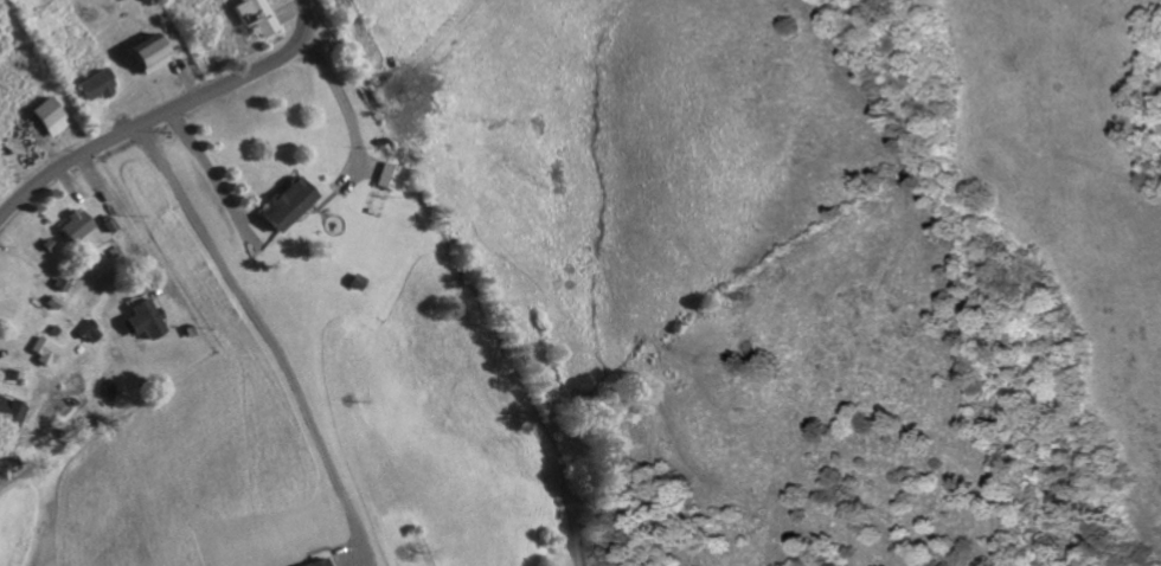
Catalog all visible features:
building: (254, 17)
building: (145, 57)
building: (92, 88)
road: (336, 94)
road: (165, 114)
building: (45, 118)
building: (381, 178)
building: (283, 206)
building: (71, 226)
building: (142, 321)
road: (270, 333)
building: (38, 353)
building: (8, 418)
building: (4, 468)
building: (317, 564)

